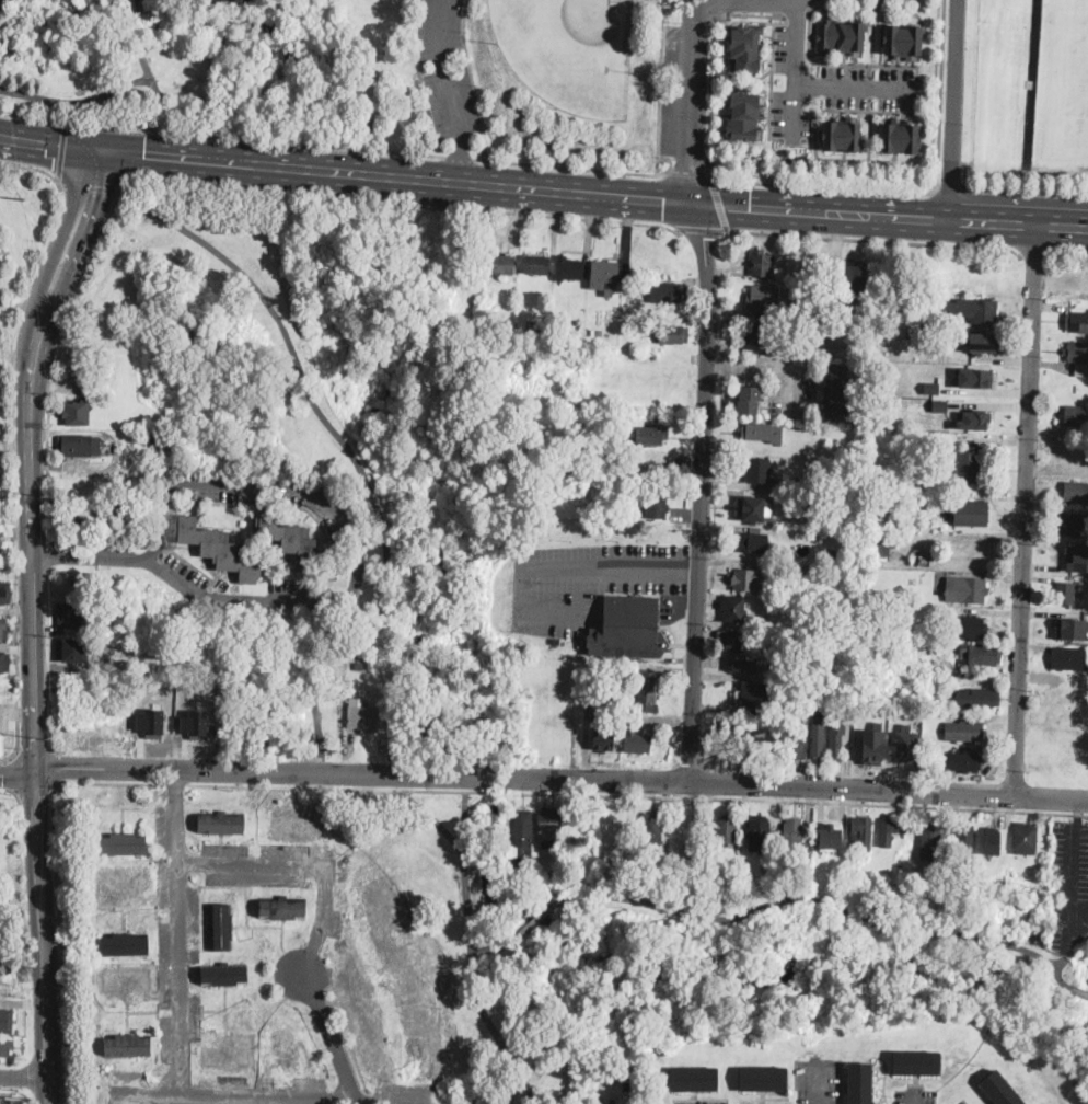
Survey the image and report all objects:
road: (782, 0)
power substation: (2, 3)
road: (131, 4)
road: (726, 5)
road: (746, 12)
road: (798, 14)
building: (841, 34)
building: (903, 39)
building: (745, 46)
park: (570, 50)
road: (827, 64)
road: (147, 67)
parking lot: (445, 68)
road: (445, 69)
road: (796, 70)
park: (356, 71)
road: (659, 78)
road: (473, 80)
road: (1032, 83)
track: (1032, 83)
park: (1064, 83)
road: (857, 85)
road: (77, 100)
road: (693, 102)
road: (953, 110)
building: (744, 115)
road: (221, 134)
building: (841, 134)
building: (901, 136)
road: (49, 143)
road: (61, 149)
traffic signals: (101, 150)
road: (459, 154)
road: (459, 159)
road: (592, 166)
road: (35, 168)
road: (687, 175)
road: (90, 186)
road: (952, 186)
road: (1016, 187)
road: (916, 191)
road: (593, 194)
power tower: (25, 199)
road: (401, 200)
traffic signals: (664, 200)
road: (719, 203)
traffic signals: (750, 207)
road: (702, 228)
road: (873, 239)
road: (1033, 251)
road: (1069, 251)
building: (762, 263)
building: (502, 264)
building: (536, 265)
building: (569, 268)
building: (605, 274)
building: (855, 276)
building: (668, 292)
building: (763, 297)
building: (970, 310)
building: (1077, 322)
building: (535, 324)
building: (600, 333)
building: (673, 334)
building: (766, 334)
building: (984, 344)
building: (1079, 357)
road: (59, 363)
road: (772, 364)
building: (975, 377)
building: (930, 387)
building: (836, 391)
building: (749, 399)
building: (77, 413)
building: (1077, 415)
building: (974, 418)
building: (763, 432)
building: (652, 434)
building: (158, 440)
building: (79, 446)
road: (28, 453)
road: (356, 460)
building: (969, 465)
building: (681, 467)
building: (759, 470)
building: (800, 483)
road: (702, 491)
building: (1076, 492)
power tower: (45, 496)
building: (808, 498)
building: (657, 507)
building: (755, 508)
road: (1026, 509)
building: (972, 513)
building: (78, 520)
building: (913, 521)
building: (1072, 522)
building: (748, 541)
building: (0, 543)
building: (299, 544)
building: (881, 545)
building: (219, 550)
building: (831, 552)
building: (1077, 554)
road: (51, 555)
building: (925, 556)
road: (534, 565)
building: (802, 568)
building: (993, 576)
building: (745, 578)
building: (967, 590)
building: (5, 593)
building: (1066, 593)
building: (877, 595)
road: (308, 600)
building: (802, 606)
building: (734, 608)
building: (73, 614)
building: (968, 626)
building: (1070, 626)
building: (628, 628)
building: (5, 630)
building: (557, 640)
building: (732, 641)
building: (895, 645)
building: (77, 649)
building: (981, 654)
road: (46, 657)
building: (1069, 658)
building: (4, 662)
building: (369, 664)
building: (743, 664)
building: (359, 666)
building: (938, 668)
building: (609, 689)
building: (649, 691)
building: (618, 692)
building: (979, 697)
building: (751, 698)
building: (819, 705)
building: (363, 717)
building: (153, 718)
building: (198, 720)
building: (426, 724)
building: (965, 732)
road: (18, 734)
building: (732, 736)
building: (818, 737)
power tower: (50, 740)
building: (604, 740)
building: (638, 741)
building: (836, 741)
building: (797, 745)
building: (0, 746)
building: (872, 746)
building: (907, 746)
road: (32, 749)
building: (963, 761)
road: (54, 766)
traffic signals: (35, 769)
road: (322, 771)
road: (11, 772)
road: (18, 772)
road: (362, 772)
road: (345, 786)
road: (33, 789)
road: (889, 789)
road: (729, 796)
building: (0, 805)
road: (53, 809)
power tower: (19, 821)
road: (464, 821)
building: (221, 823)
building: (299, 823)
building: (583, 823)
building: (615, 826)
road: (1083, 827)
building: (549, 828)
building: (652, 830)
building: (727, 830)
building: (889, 830)
building: (692, 831)
building: (926, 831)
building: (760, 833)
building: (863, 833)
building: (796, 836)
building: (831, 839)
building: (1027, 839)
building: (522, 840)
building: (992, 840)
building: (967, 841)
building: (574, 842)
building: (124, 844)
building: (603, 848)
road: (305, 861)
road: (464, 861)
building: (605, 861)
building: (126, 877)
parking lot: (1069, 886)
road: (1075, 886)
road: (819, 898)
building: (282, 908)
road: (1080, 916)
road: (531, 923)
building: (221, 928)
road: (45, 935)
building: (126, 944)
building: (5, 963)
building: (224, 975)
building: (126, 980)
road: (314, 980)
road: (1080, 990)
building: (4, 1019)
road: (175, 1020)
road: (493, 1026)
road: (332, 1037)
road: (346, 1039)
building: (128, 1045)
building: (5, 1047)
building: (283, 1048)
building: (225, 1051)
building: (917, 1063)
road: (24, 1076)
building: (763, 1079)
building: (694, 1080)
road: (819, 1082)
building: (860, 1083)
road: (143, 1090)
building: (999, 1090)
road: (915, 1096)
road: (368, 1097)
power tower: (31, 1099)
building: (11, 1101)
road: (394, 1101)

